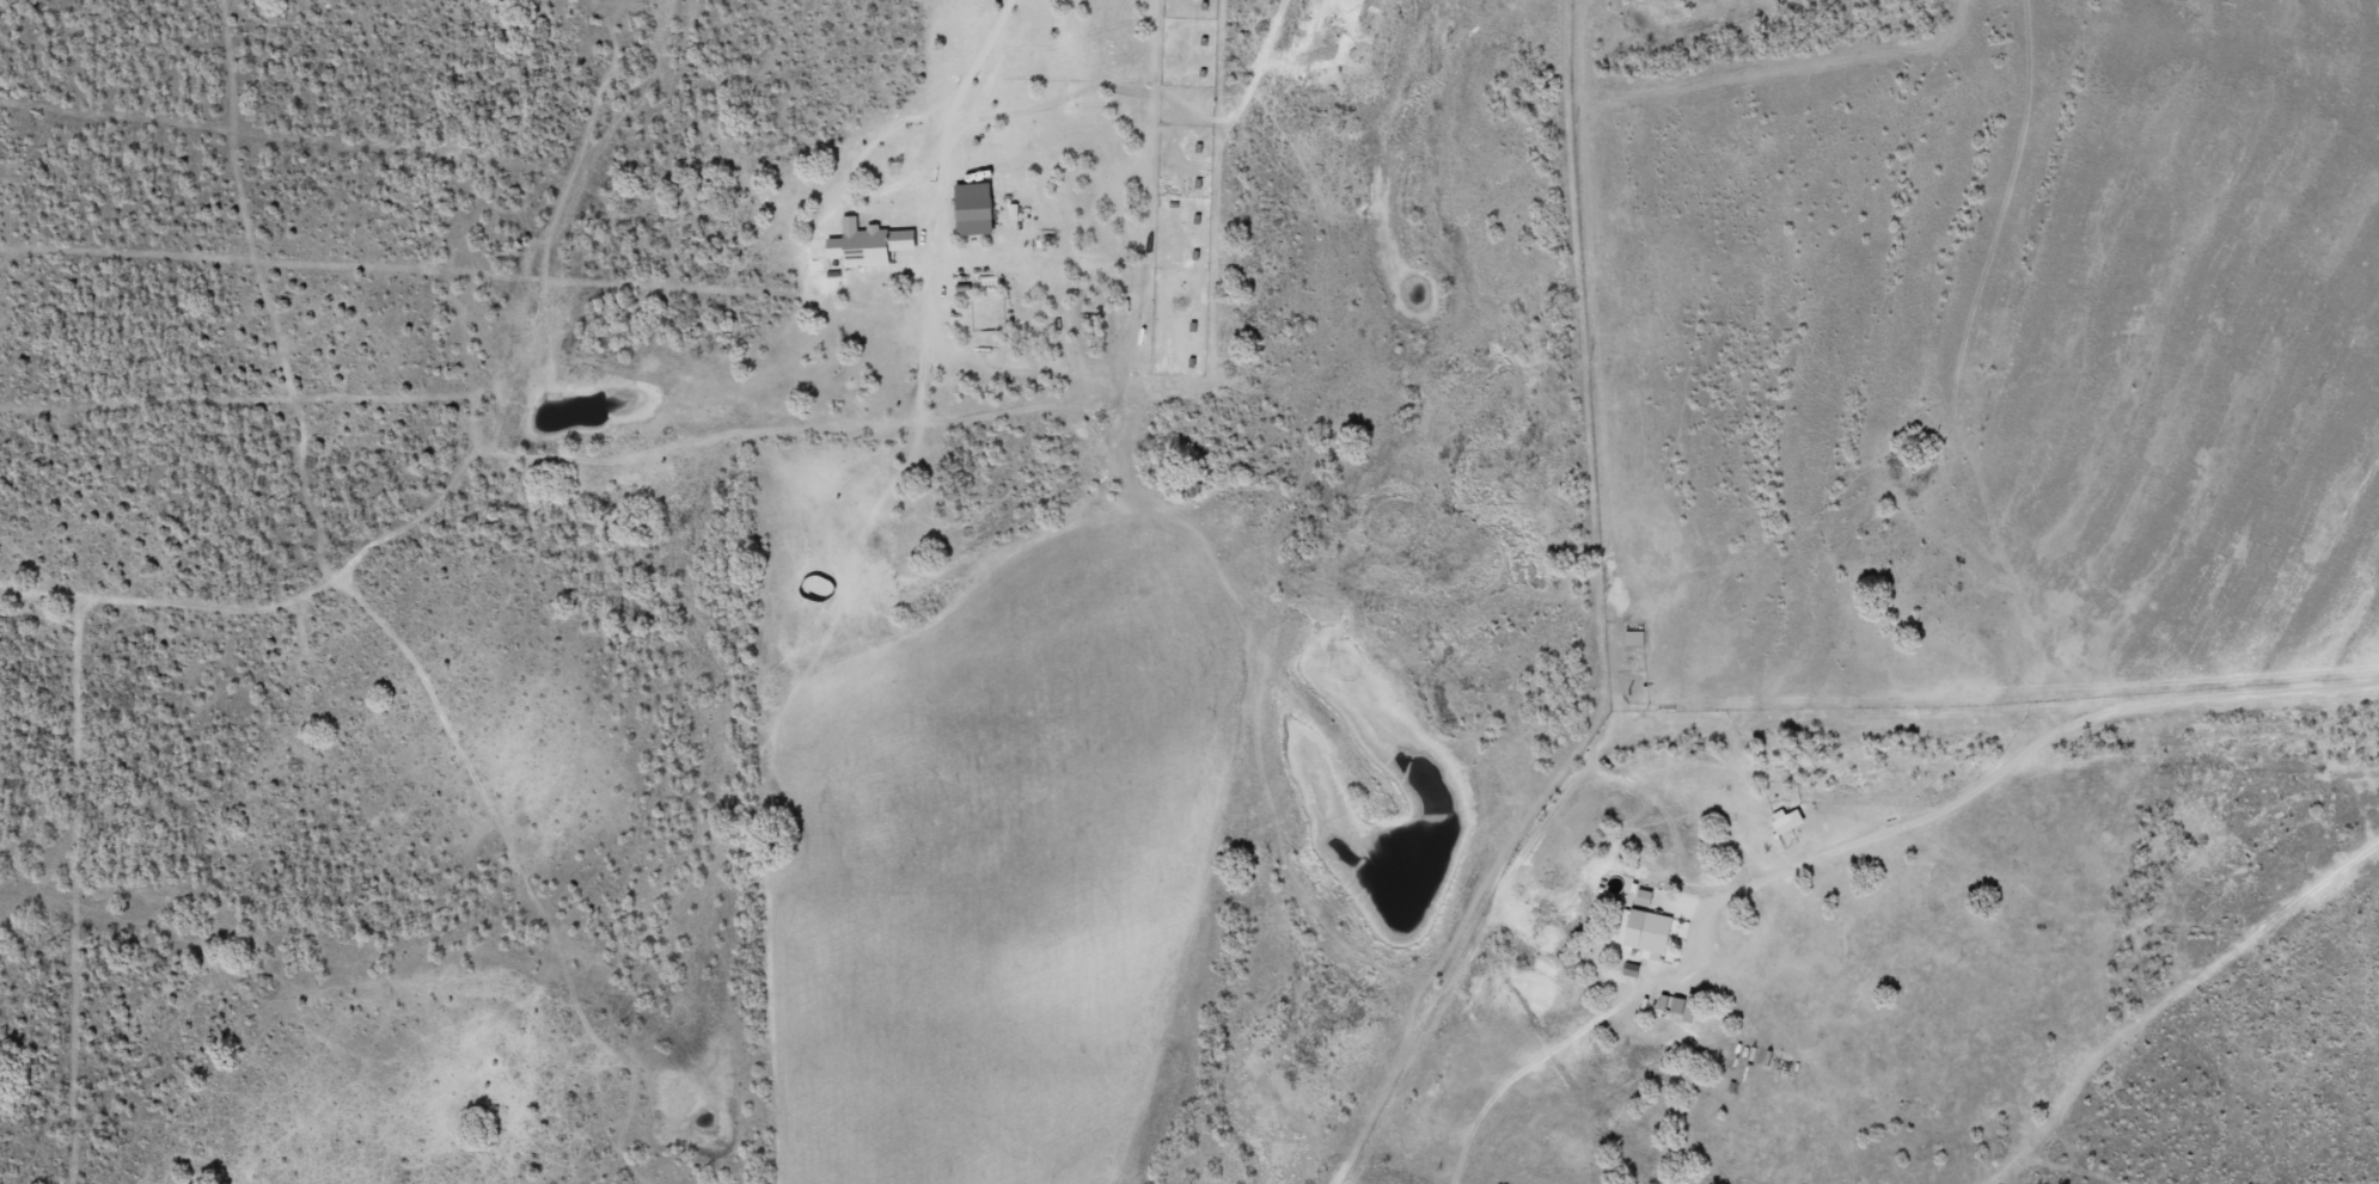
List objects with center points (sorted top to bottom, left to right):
road: (2029, 755)
building: (1637, 932)
road: (2191, 1004)

